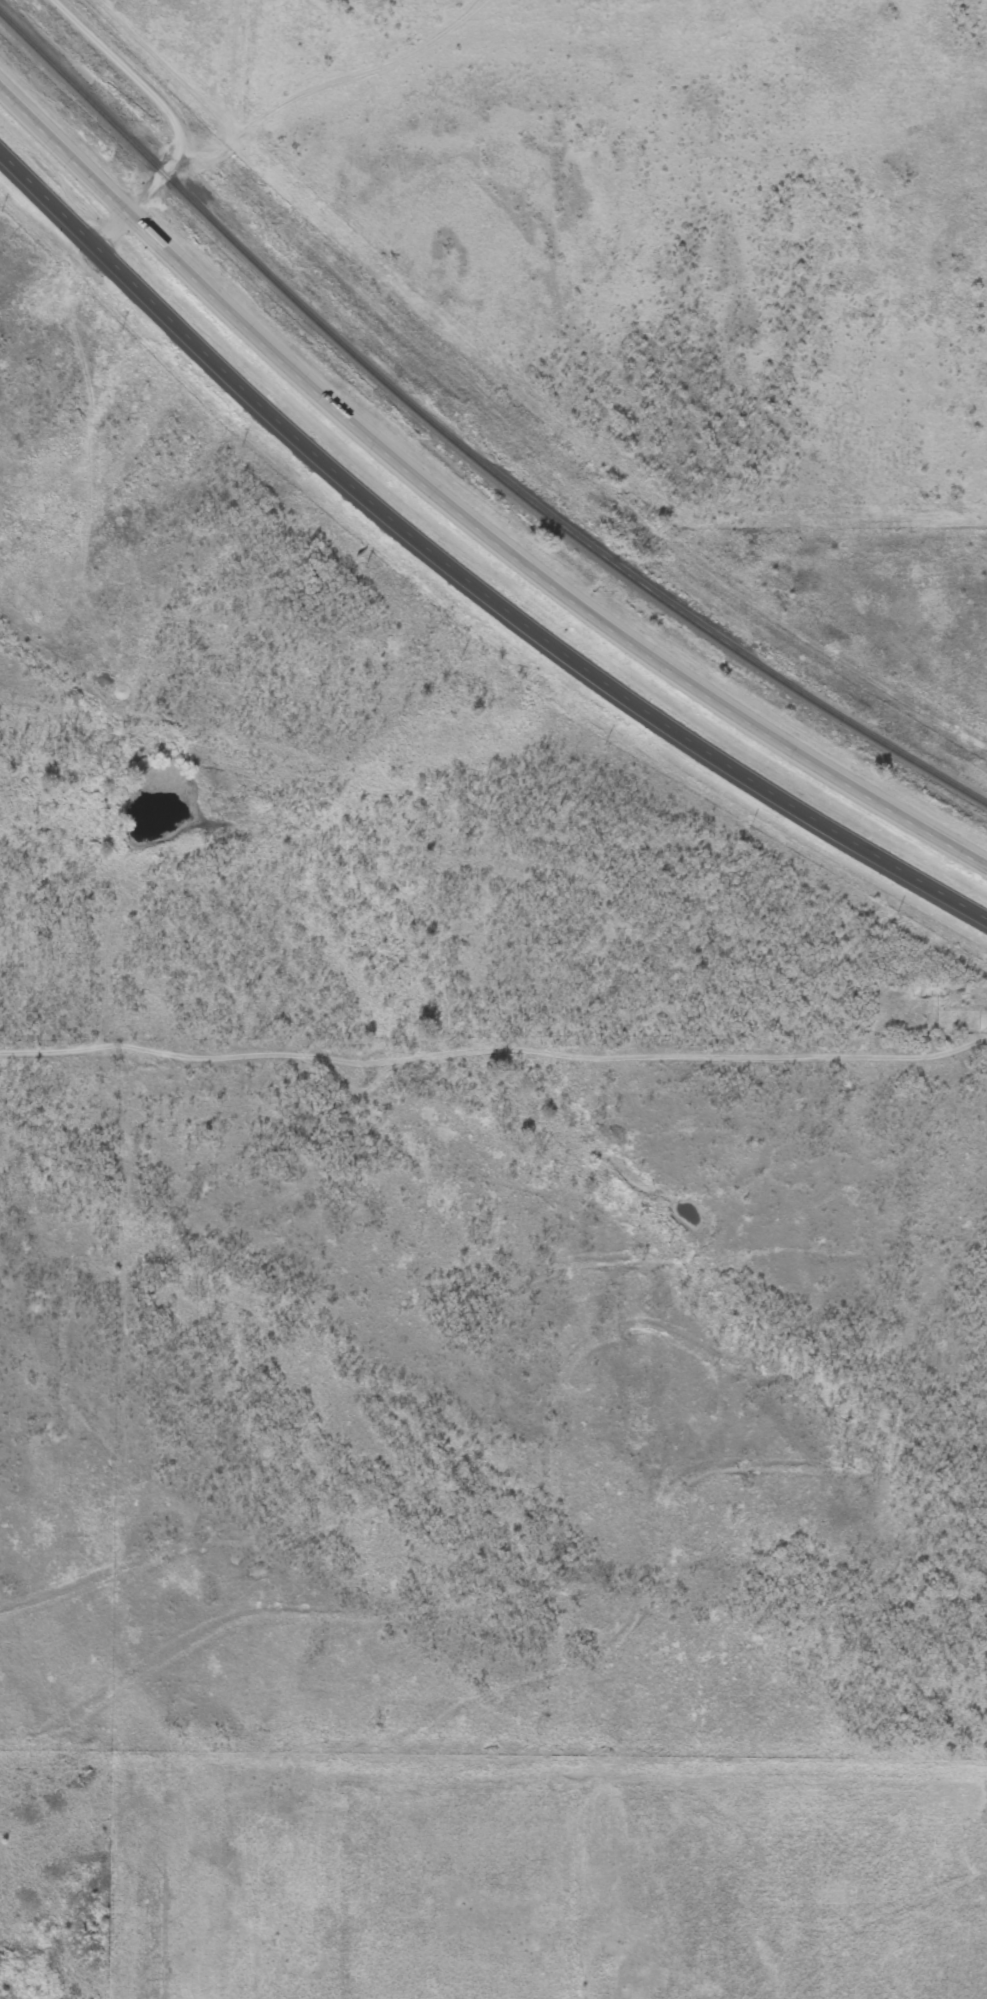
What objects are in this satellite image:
road: (175, 117)
building: (183, 263)
railway: (462, 447)
road: (463, 521)
road: (462, 577)
road: (603, 898)
road: (386, 1003)

